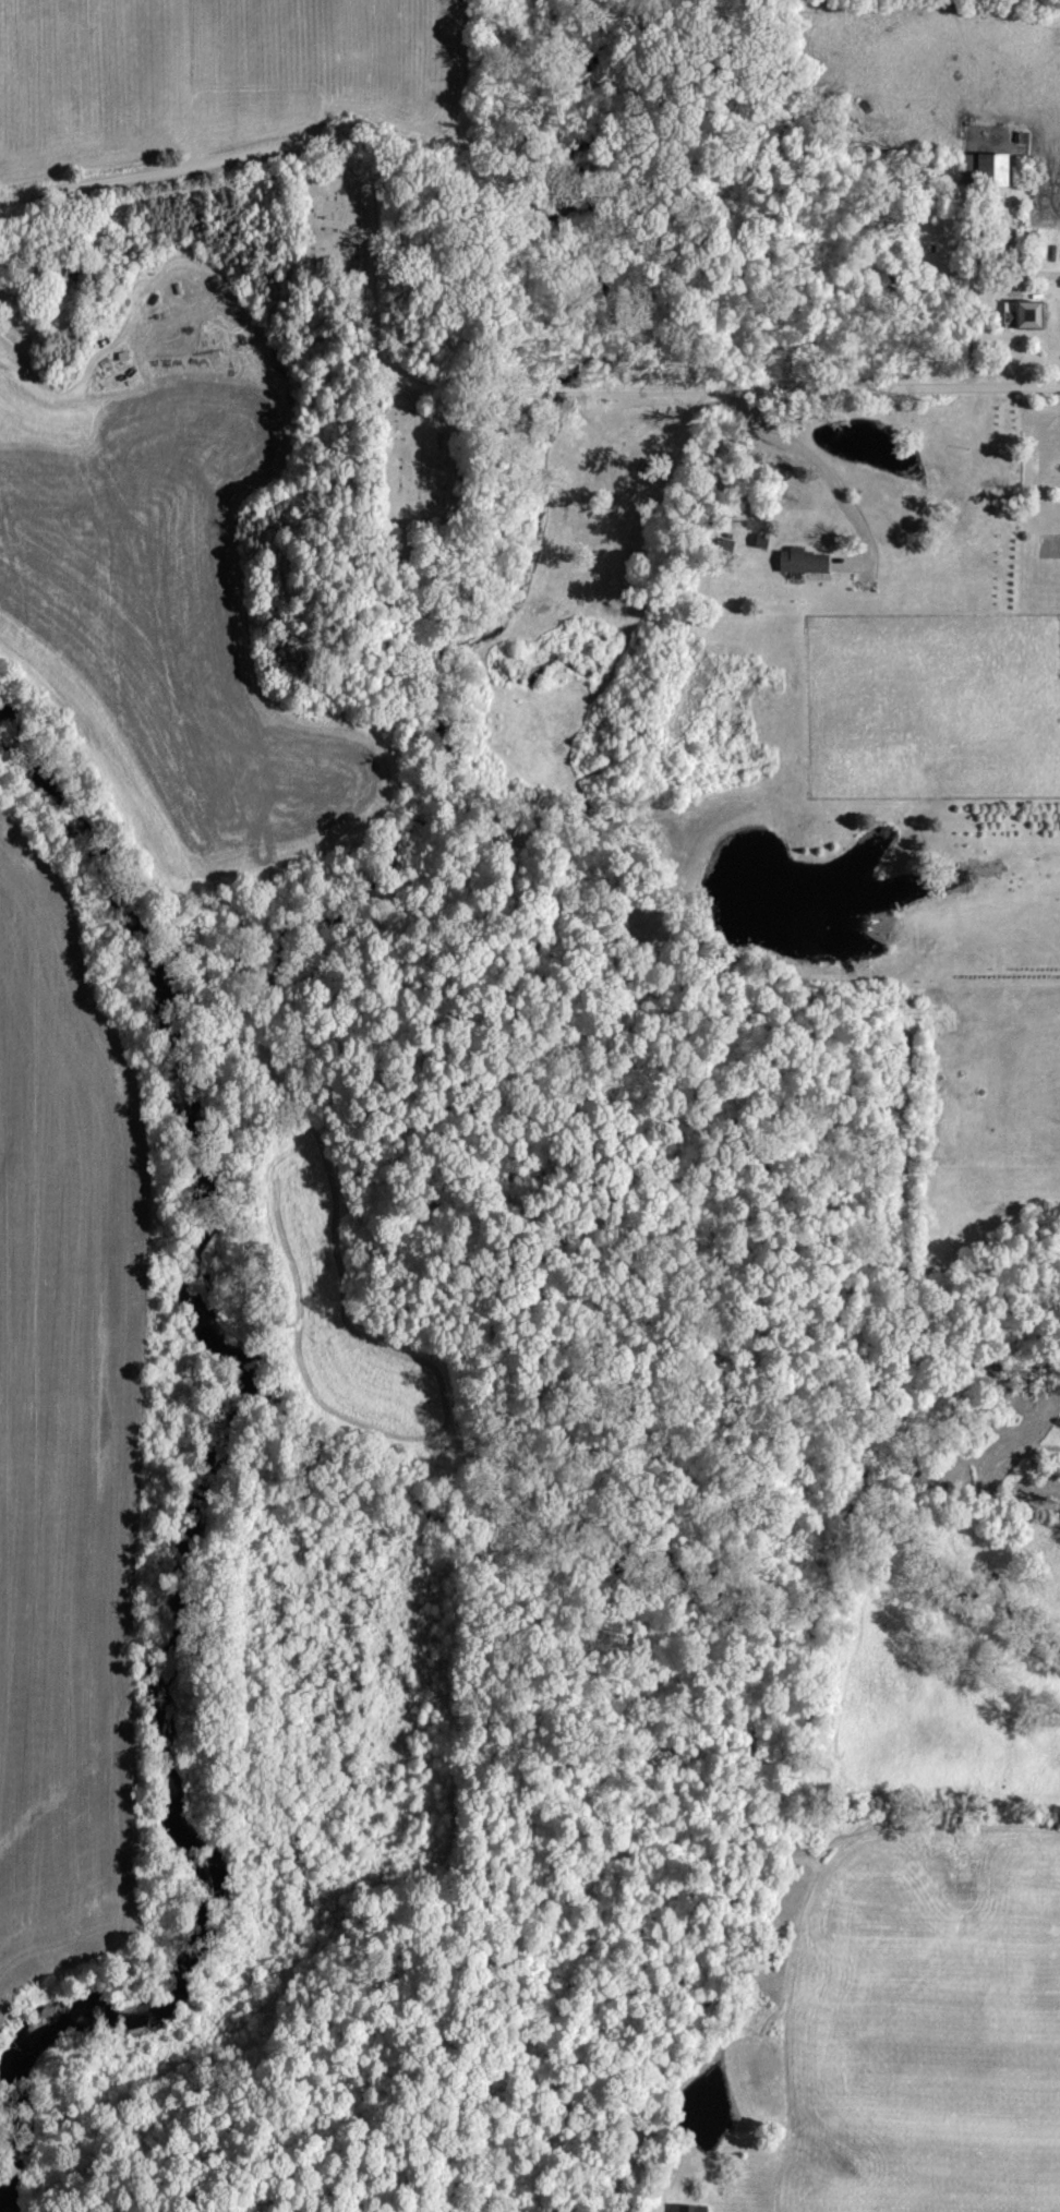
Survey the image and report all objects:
building: (997, 169)
park: (325, 212)
road: (975, 294)
building: (1013, 312)
building: (1033, 314)
road: (433, 381)
park: (410, 461)
road: (826, 471)
building: (805, 562)
building: (688, 2209)

